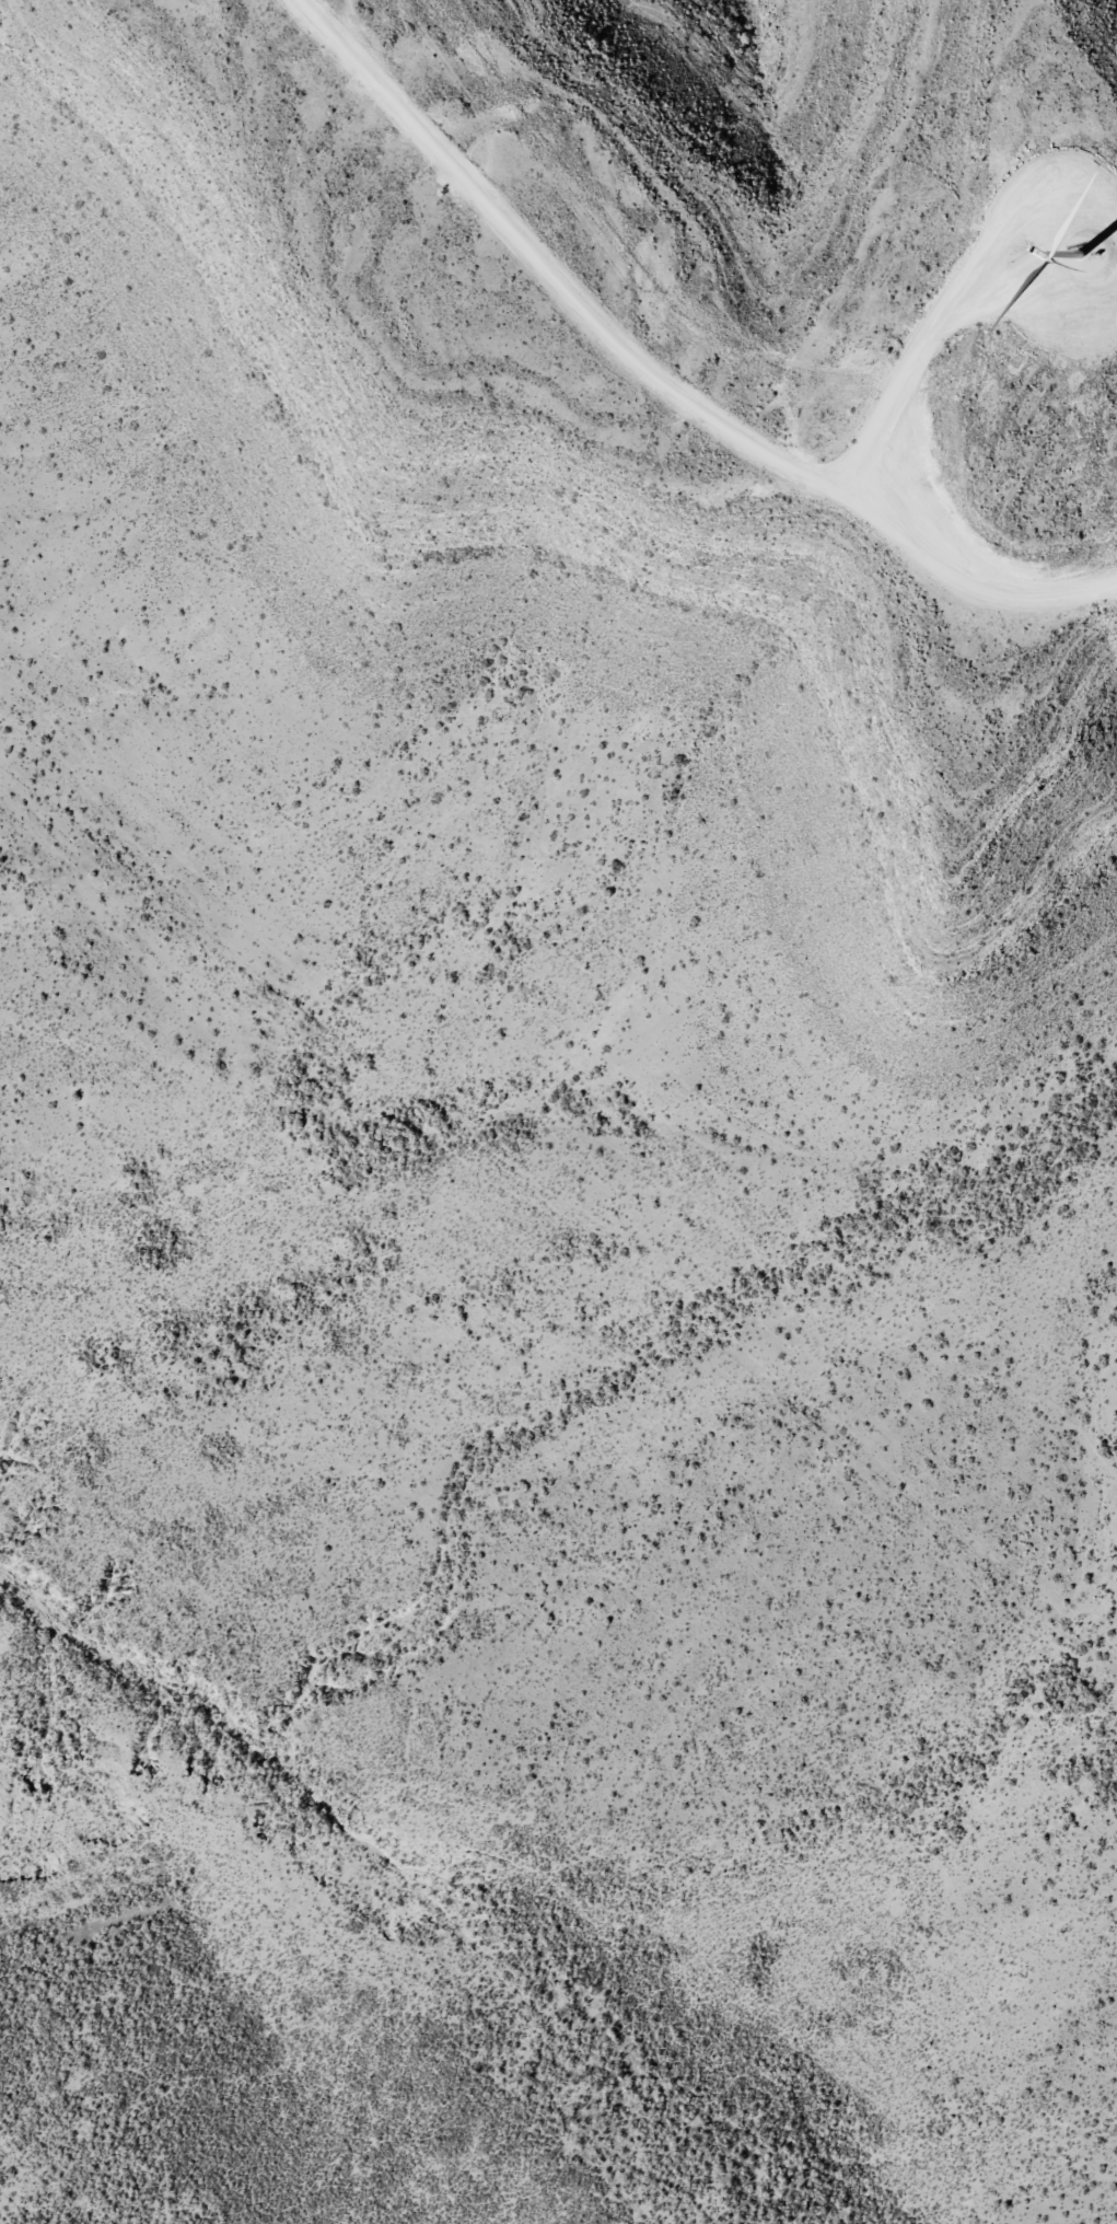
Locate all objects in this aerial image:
wind turbine: (1080, 254)

